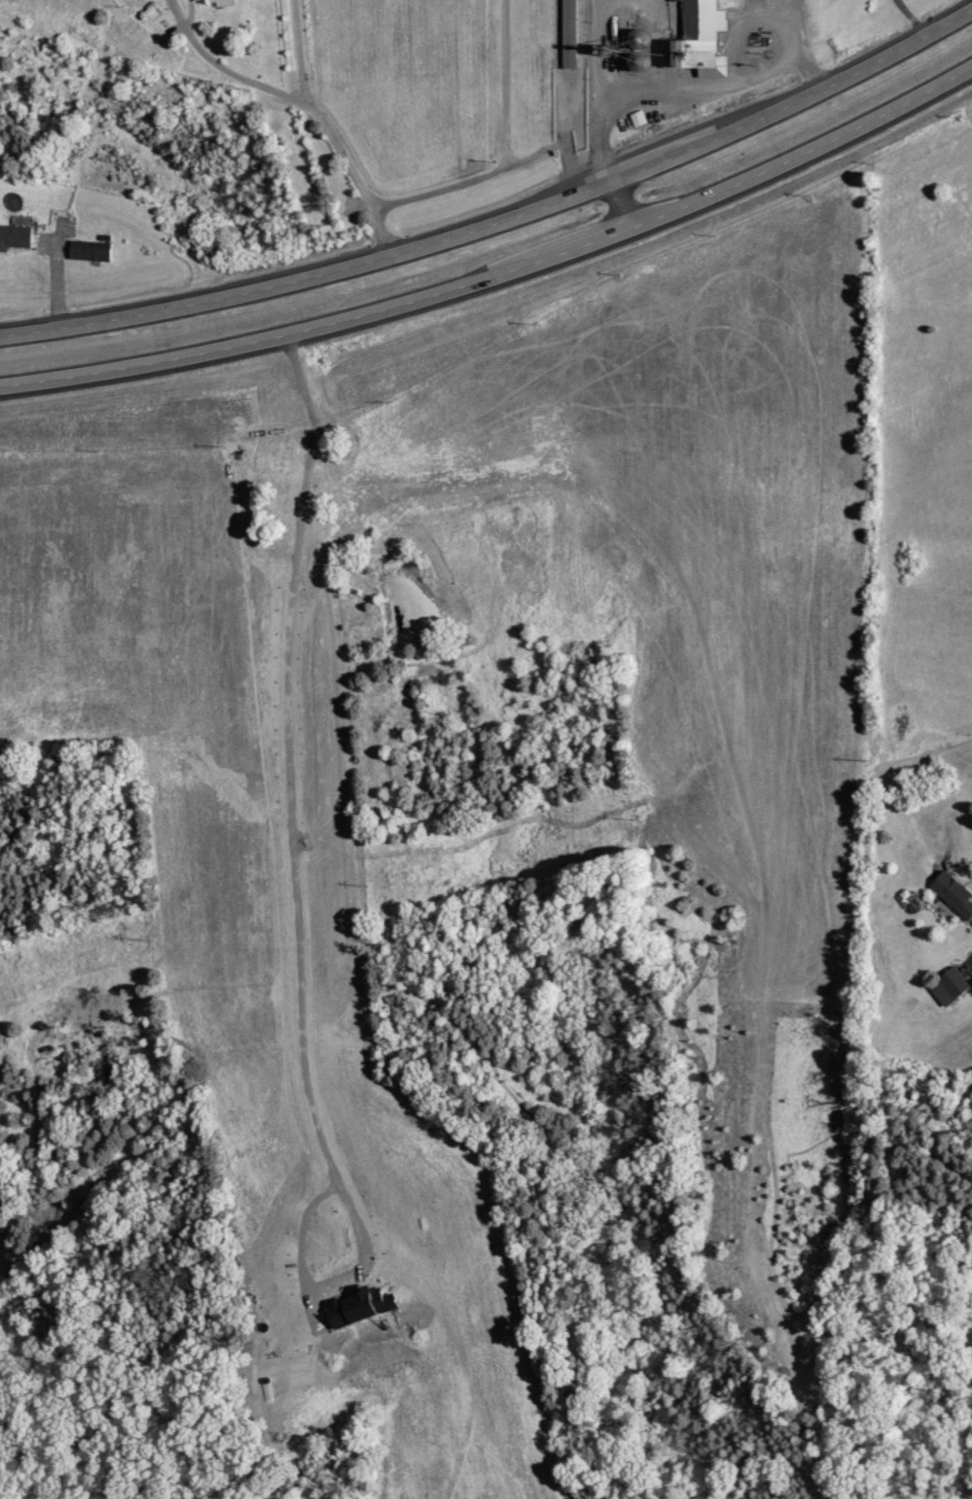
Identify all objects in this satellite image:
building: (218, 2)
road: (911, 18)
road: (782, 27)
building: (701, 40)
road: (815, 72)
road: (838, 84)
road: (505, 85)
road: (276, 95)
road: (660, 98)
building: (640, 118)
road: (804, 156)
road: (604, 163)
road: (654, 163)
road: (466, 184)
building: (16, 237)
road: (585, 243)
building: (93, 250)
road: (309, 278)
road: (55, 283)
road: (274, 340)
building: (955, 893)
building: (952, 987)

